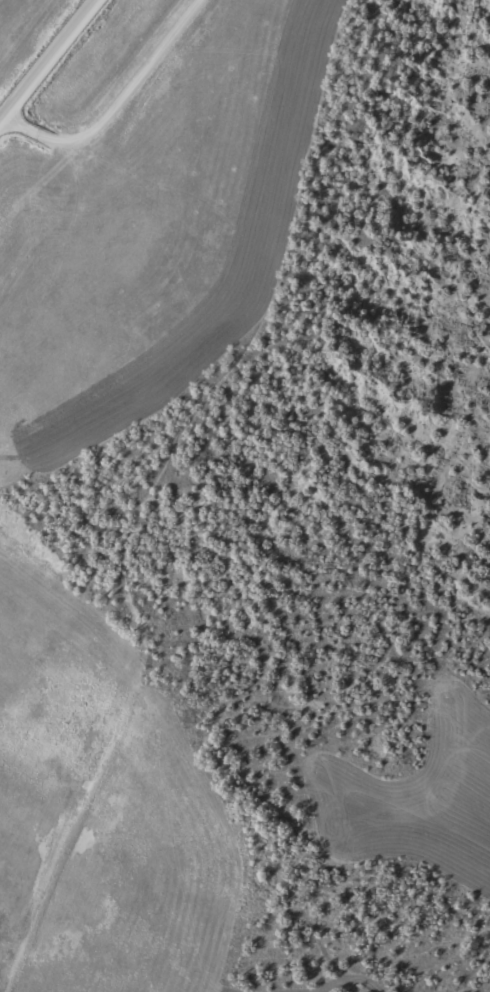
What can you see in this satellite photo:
road: (49, 61)

